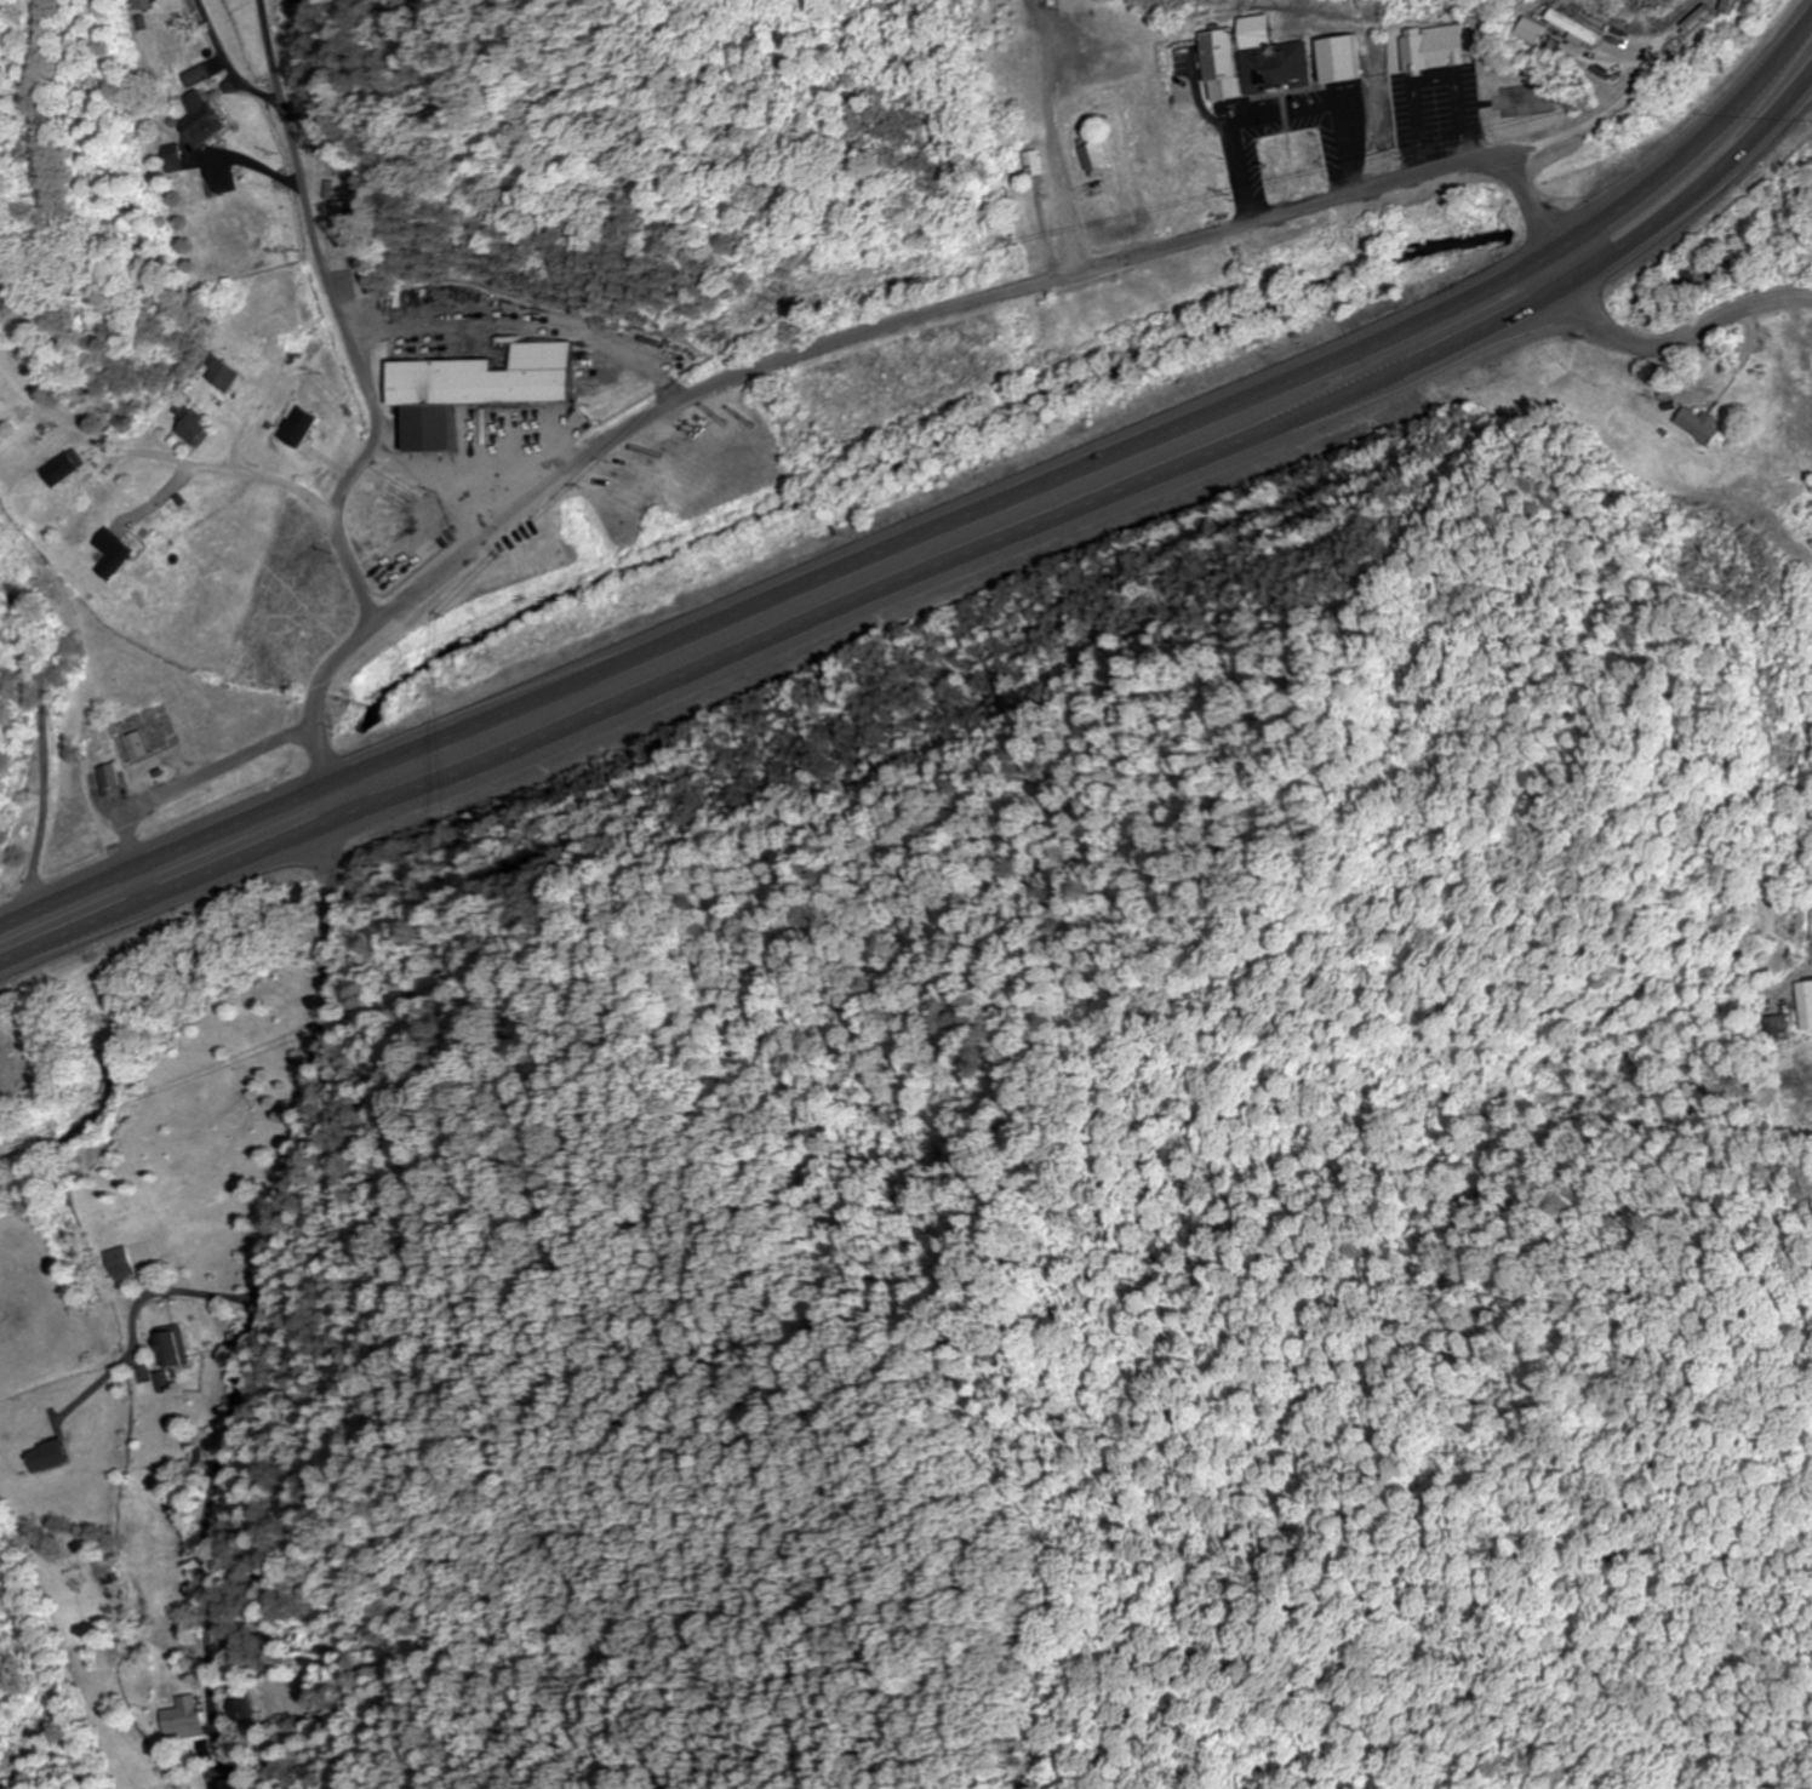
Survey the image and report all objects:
building: (305, 1)
building: (143, 5)
building: (1525, 33)
building: (1428, 50)
building: (1268, 61)
building: (1331, 62)
building: (1217, 67)
building: (204, 120)
building: (1103, 160)
building: (172, 162)
building: (1038, 164)
building: (350, 217)
road: (311, 223)
road: (846, 342)
road: (1662, 349)
building: (227, 375)
building: (484, 391)
building: (1696, 425)
building: (303, 427)
building: (195, 428)
building: (62, 470)
road: (942, 521)
road: (339, 533)
building: (115, 554)
road: (934, 573)
building: (101, 731)
building: (138, 747)
road: (204, 775)
building: (110, 777)
building: (1810, 921)
building: (1802, 1006)
building: (1773, 1029)
road: (264, 1245)
building: (124, 1263)
building: (173, 1347)
building: (161, 1383)
building: (51, 1456)
building: (246, 1709)
building: (184, 1719)
building: (218, 1785)

